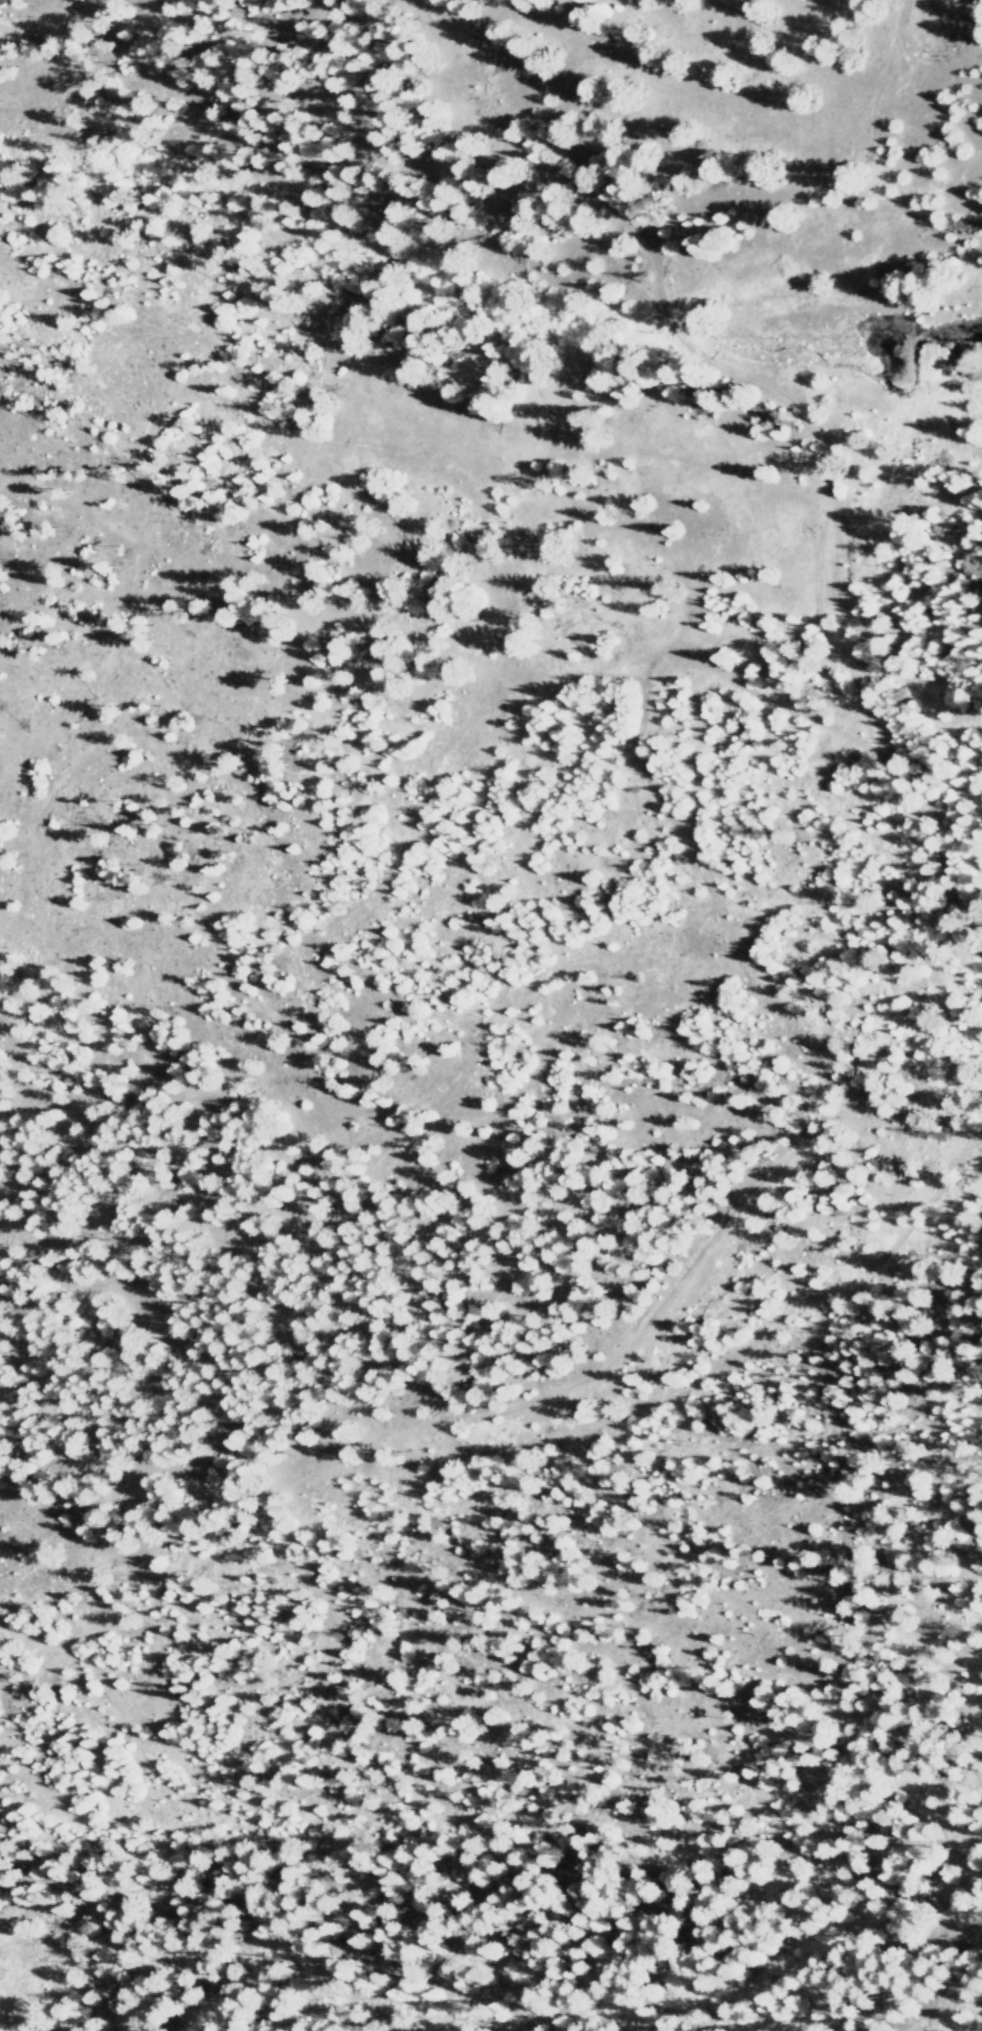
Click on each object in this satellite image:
road: (791, 407)

